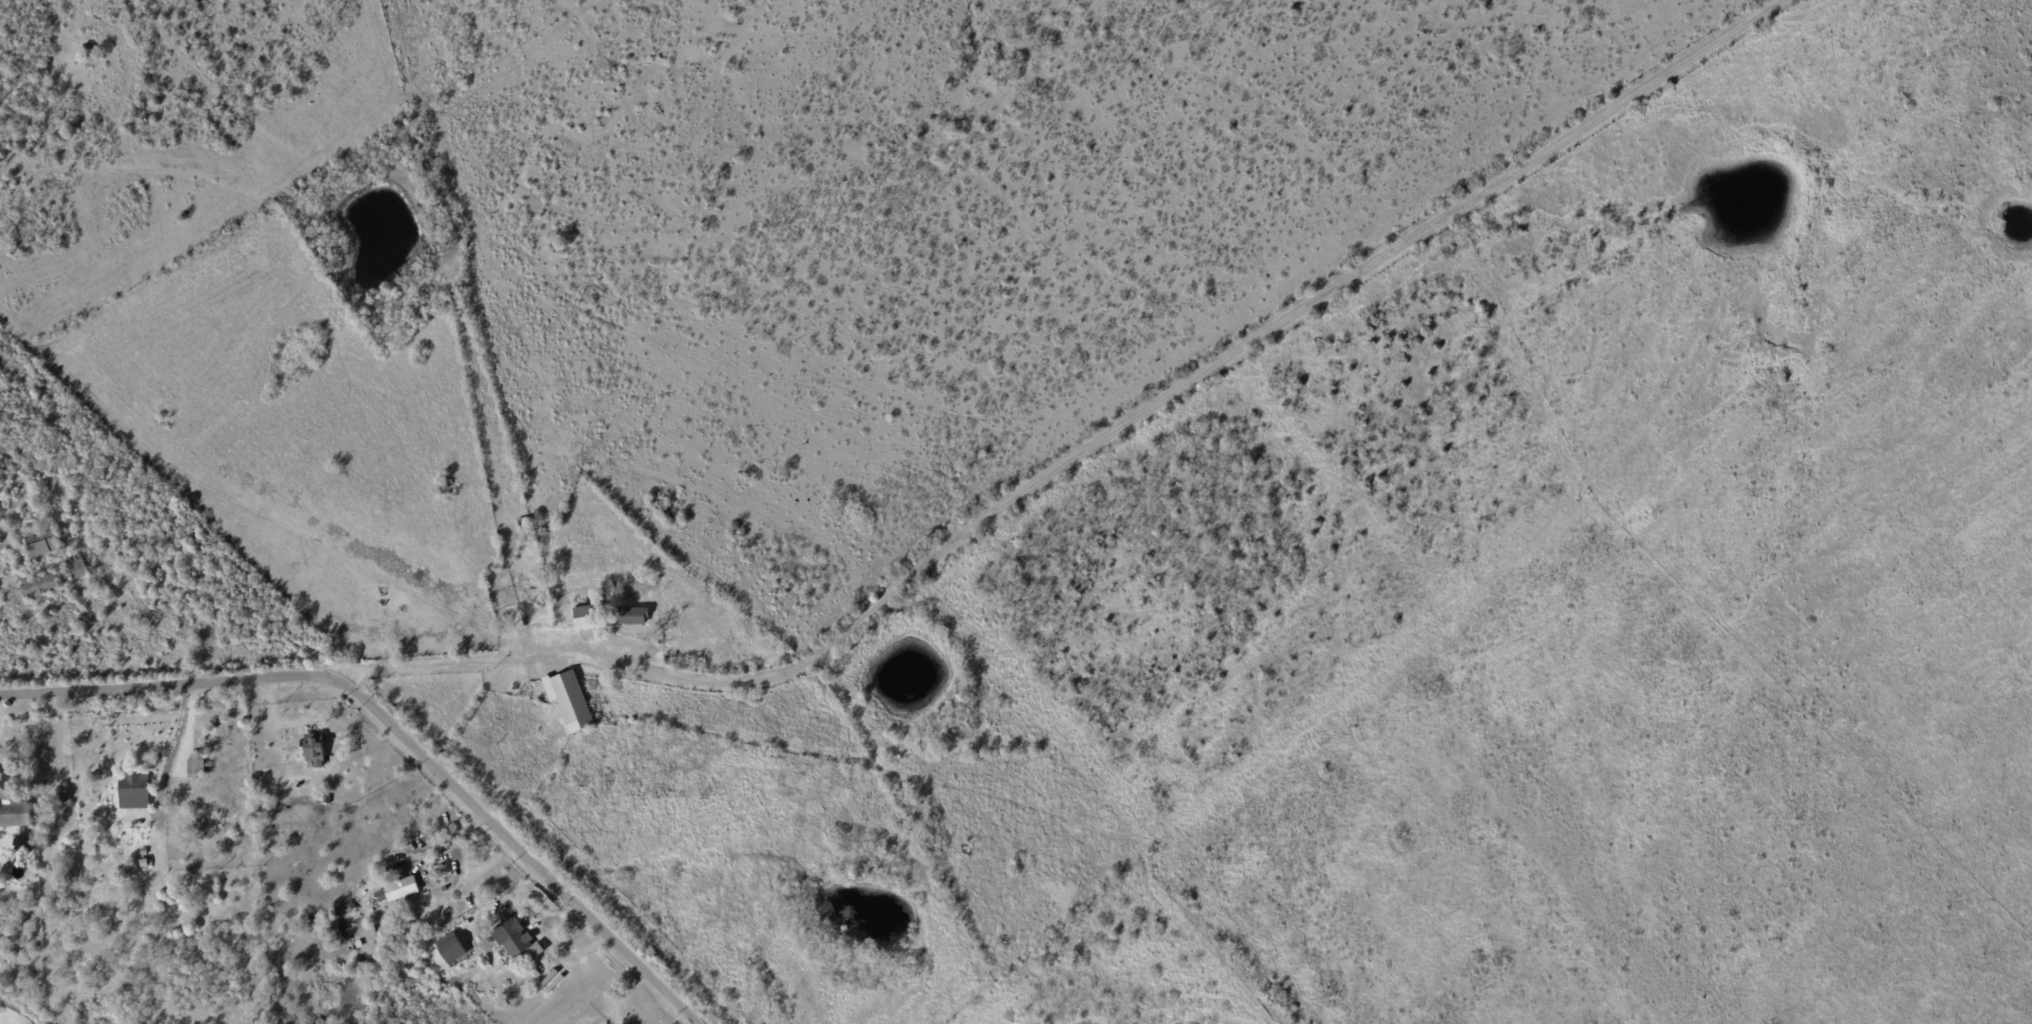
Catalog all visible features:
building: (90, 50)
road: (1085, 449)
building: (444, 487)
building: (42, 543)
building: (76, 567)
building: (41, 587)
building: (632, 617)
building: (585, 619)
building: (672, 622)
road: (168, 685)
building: (639, 687)
building: (573, 703)
road: (178, 736)
building: (317, 750)
building: (197, 767)
building: (135, 788)
building: (59, 802)
building: (42, 804)
building: (13, 810)
building: (126, 835)
road: (518, 850)
building: (223, 852)
building: (53, 854)
building: (200, 858)
building: (173, 874)
building: (142, 878)
building: (399, 889)
building: (407, 904)
building: (351, 906)
building: (515, 939)
building: (454, 950)
building: (538, 950)
building: (509, 958)

